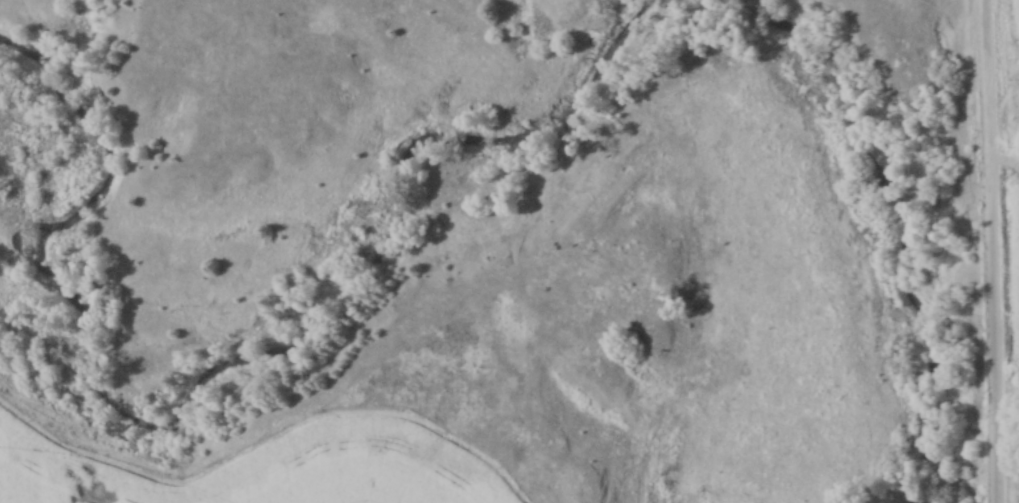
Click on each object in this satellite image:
road: (995, 251)

